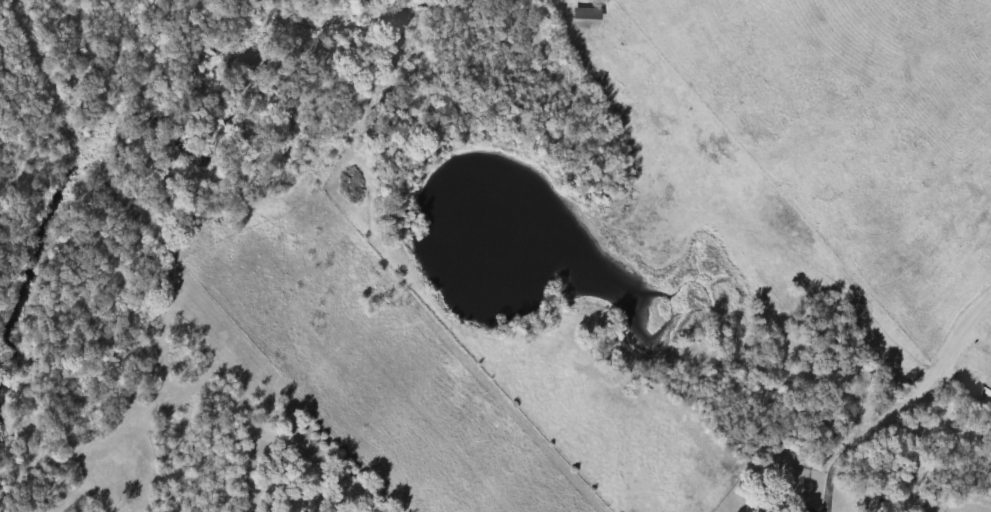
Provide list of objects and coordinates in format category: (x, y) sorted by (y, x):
road: (901, 403)

